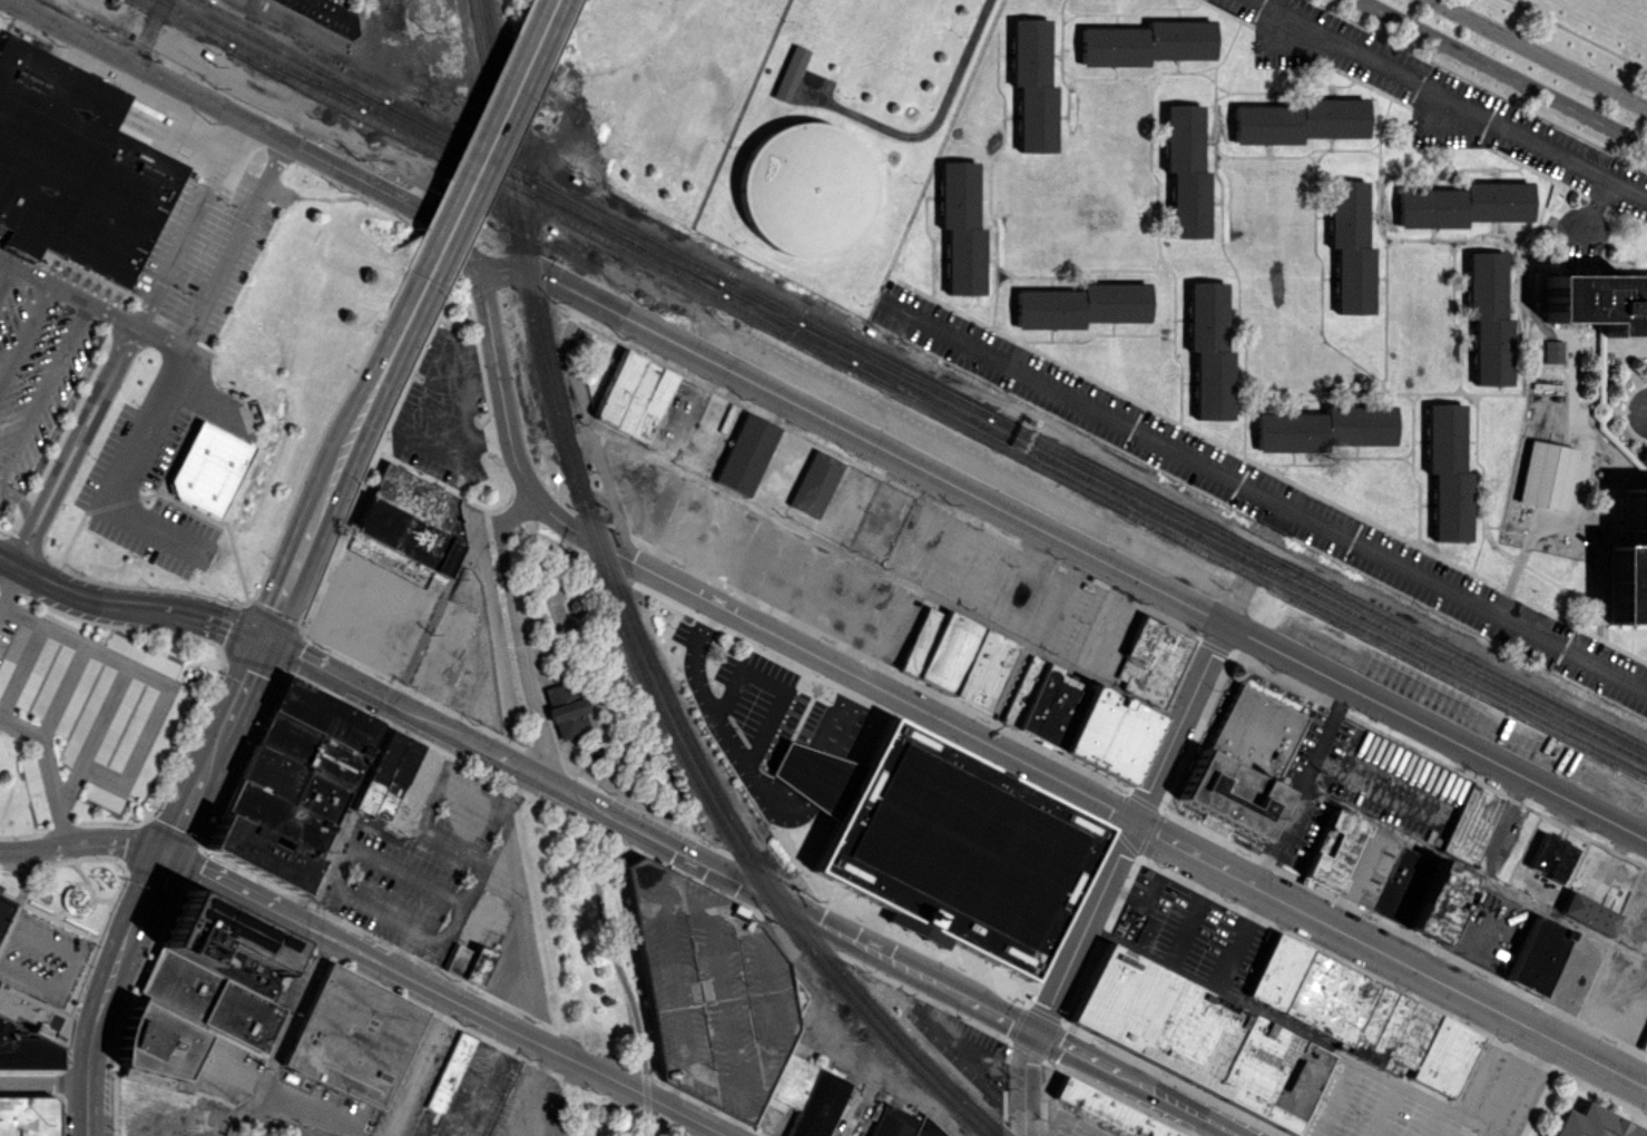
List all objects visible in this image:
building: (322, 13)
railway: (183, 23)
park: (1582, 30)
road: (148, 31)
road: (310, 31)
building: (1145, 42)
railway: (294, 51)
road: (1540, 53)
building: (788, 72)
road: (1503, 72)
railway: (296, 76)
building: (1031, 85)
railway: (356, 90)
road: (1450, 94)
building: (1295, 120)
road: (252, 124)
road: (931, 124)
road: (483, 138)
railway: (438, 144)
building: (77, 166)
building: (1184, 170)
building: (805, 190)
storage tank: (805, 190)
road: (1596, 203)
building: (1462, 204)
building: (959, 227)
railway: (625, 233)
building: (1349, 247)
road: (174, 248)
road: (6, 276)
building: (1596, 303)
building: (1080, 305)
building: (1487, 317)
railway: (787, 327)
road: (26, 333)
road: (188, 335)
building: (1207, 350)
building: (1552, 351)
railway: (893, 371)
road: (43, 389)
railway: (552, 392)
building: (634, 395)
road: (366, 399)
railway: (938, 411)
road: (589, 428)
building: (1323, 428)
road: (413, 429)
road: (79, 433)
building: (745, 453)
railway: (1089, 466)
building: (208, 467)
road: (53, 470)
road: (124, 470)
building: (1445, 471)
building: (1545, 474)
road: (66, 476)
building: (814, 483)
road: (1262, 497)
road: (19, 499)
building: (411, 518)
railway: (1183, 523)
road: (1063, 539)
building: (1629, 561)
road: (883, 571)
road: (286, 578)
road: (8, 586)
road: (77, 595)
road: (170, 610)
railway: (621, 619)
railway: (634, 621)
road: (220, 623)
traffic signals: (261, 636)
road: (518, 640)
building: (1157, 647)
building: (955, 657)
road: (694, 660)
road: (312, 663)
road: (21, 667)
park: (572, 675)
road: (155, 677)
road: (775, 685)
road: (62, 691)
building: (565, 708)
road: (420, 718)
building: (1076, 718)
road: (20, 727)
road: (92, 737)
road: (731, 742)
road: (984, 742)
road: (210, 743)
building: (1244, 762)
road: (509, 763)
road: (814, 770)
building: (385, 774)
building: (292, 784)
road: (1302, 785)
road: (52, 791)
road: (578, 797)
road: (432, 800)
road: (344, 812)
building: (1471, 823)
road: (1130, 826)
road: (80, 841)
building: (957, 848)
traffic signals: (160, 851)
road: (599, 856)
building: (1550, 856)
road: (391, 860)
road: (1474, 871)
building: (1384, 877)
road: (144, 885)
road: (18, 897)
fountain: (78, 899)
road: (787, 903)
building: (2, 905)
building: (1587, 913)
road: (444, 929)
road: (528, 941)
building: (1536, 954)
building: (469, 963)
road: (69, 967)
railway: (556, 969)
road: (625, 983)
building: (202, 991)
road: (442, 993)
road: (999, 1011)
building: (745, 1012)
building: (1363, 1016)
road: (287, 1022)
road: (88, 1024)
road: (1286, 1027)
traffic signals: (1036, 1030)
building: (27, 1032)
building: (352, 1037)
building: (1197, 1038)
building: (1644, 1044)
road: (1077, 1051)
road: (422, 1067)
building: (449, 1071)
road: (1025, 1081)
building: (1175, 1081)
road: (42, 1083)
road: (1512, 1083)
road: (540, 1087)
road: (645, 1094)
parking lot: (502, 1098)
road: (1179, 1104)
building: (1107, 1110)
building: (28, 1115)
road: (290, 1123)
building: (901, 1124)
building: (1592, 1124)
road: (649, 1127)
road: (1038, 1129)
road: (523, 1132)
road: (535, 1132)
parking lot: (296, 1135)

